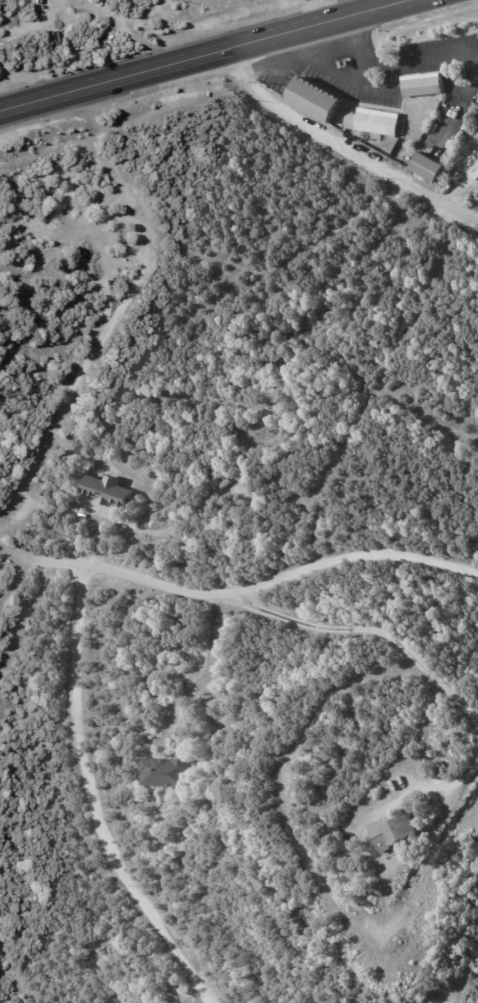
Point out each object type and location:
road: (319, 11)
road: (29, 27)
road: (130, 28)
road: (204, 53)
road: (437, 59)
road: (327, 68)
building: (418, 83)
road: (379, 88)
building: (319, 99)
building: (376, 121)
road: (341, 145)
building: (434, 168)
building: (221, 486)
building: (109, 493)
road: (12, 580)
road: (238, 594)
road: (379, 633)
road: (210, 663)
building: (170, 772)
road: (463, 773)
road: (90, 799)
building: (401, 833)

